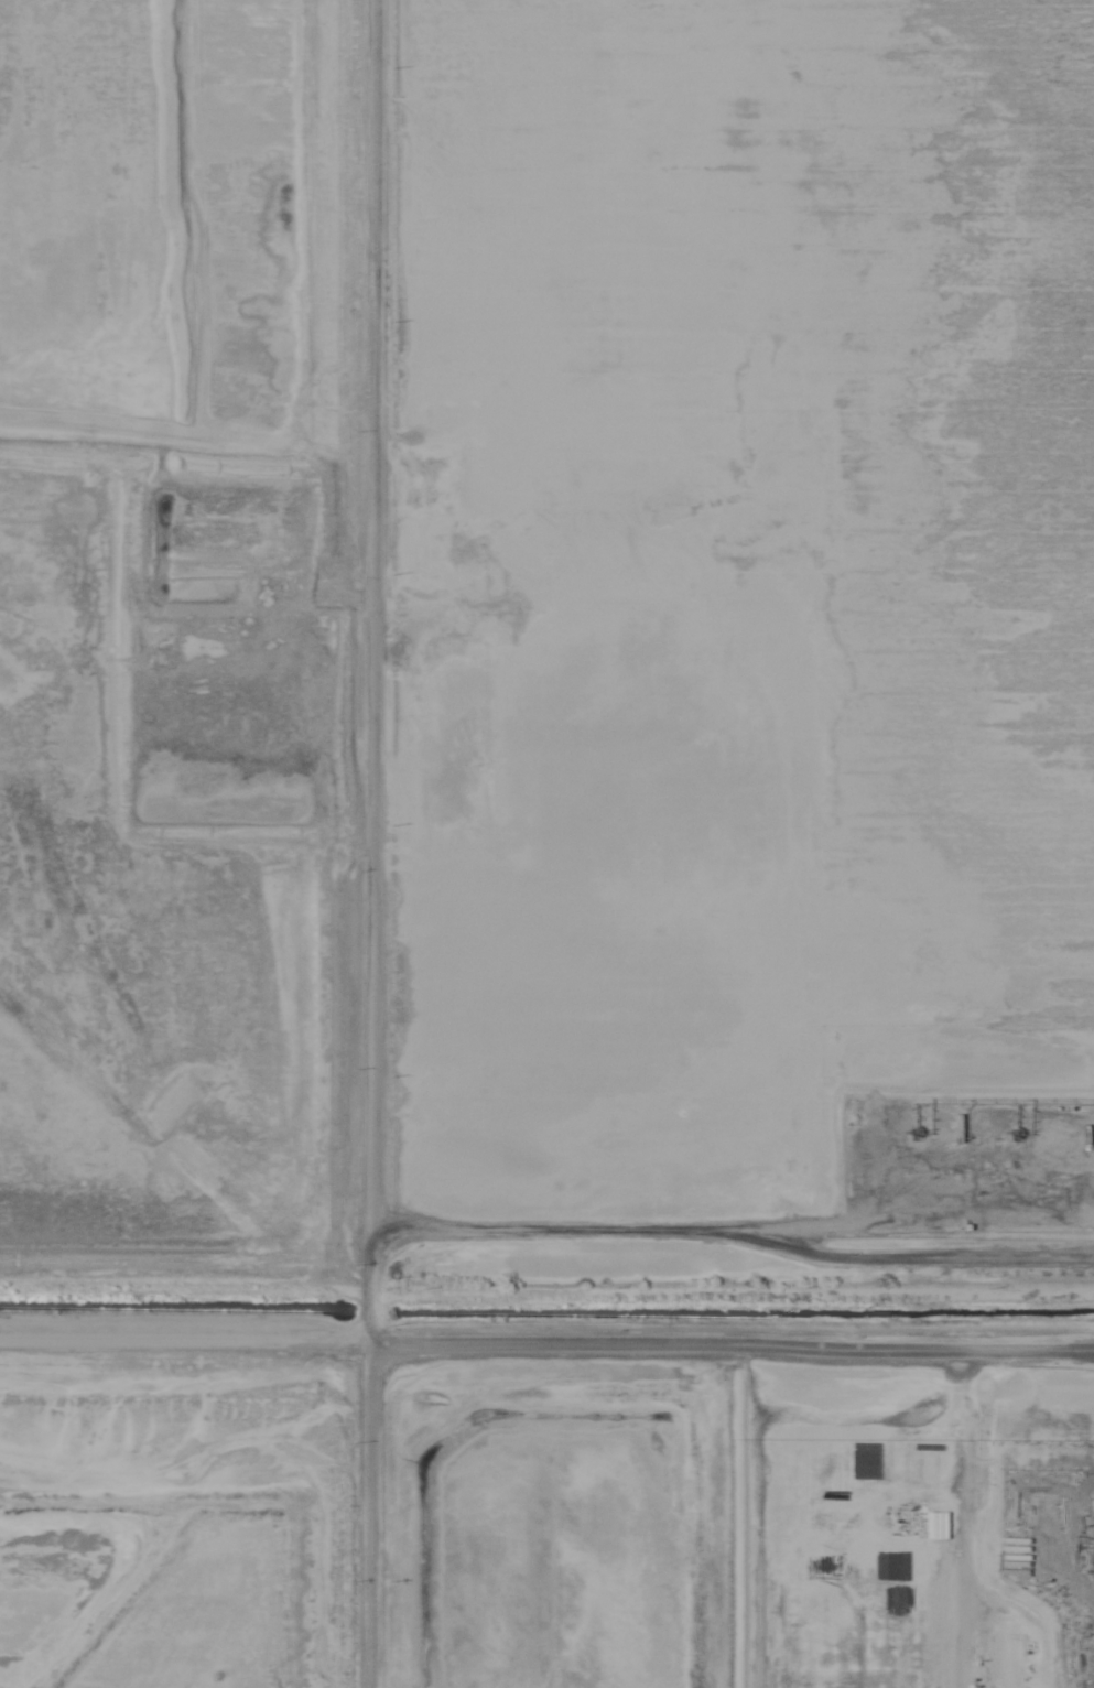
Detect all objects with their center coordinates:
road: (375, 843)
road: (732, 1234)
road: (546, 1333)
building: (844, 1648)
building: (1004, 1659)

